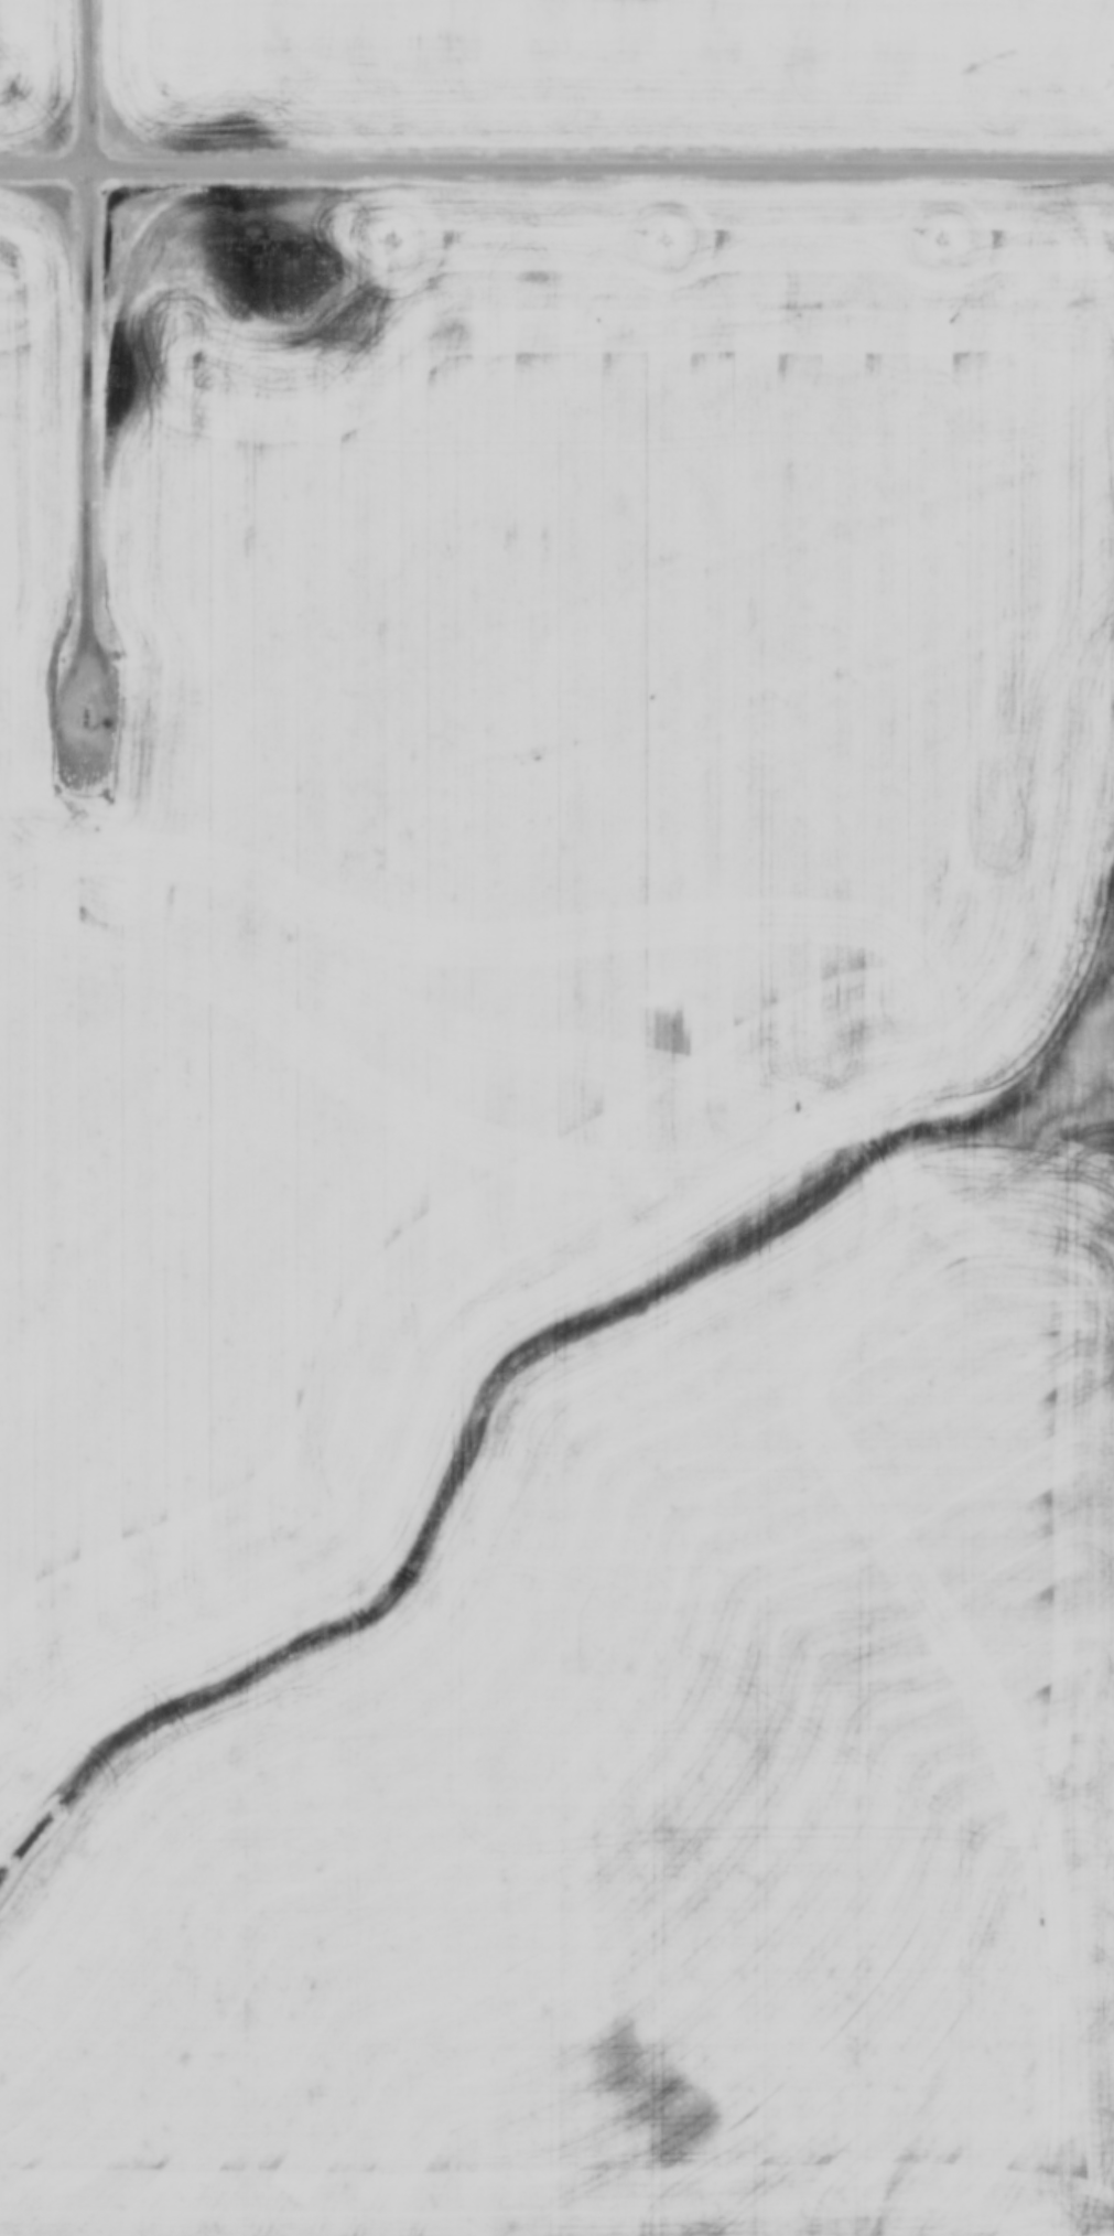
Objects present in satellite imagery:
road: (556, 159)
road: (90, 331)

